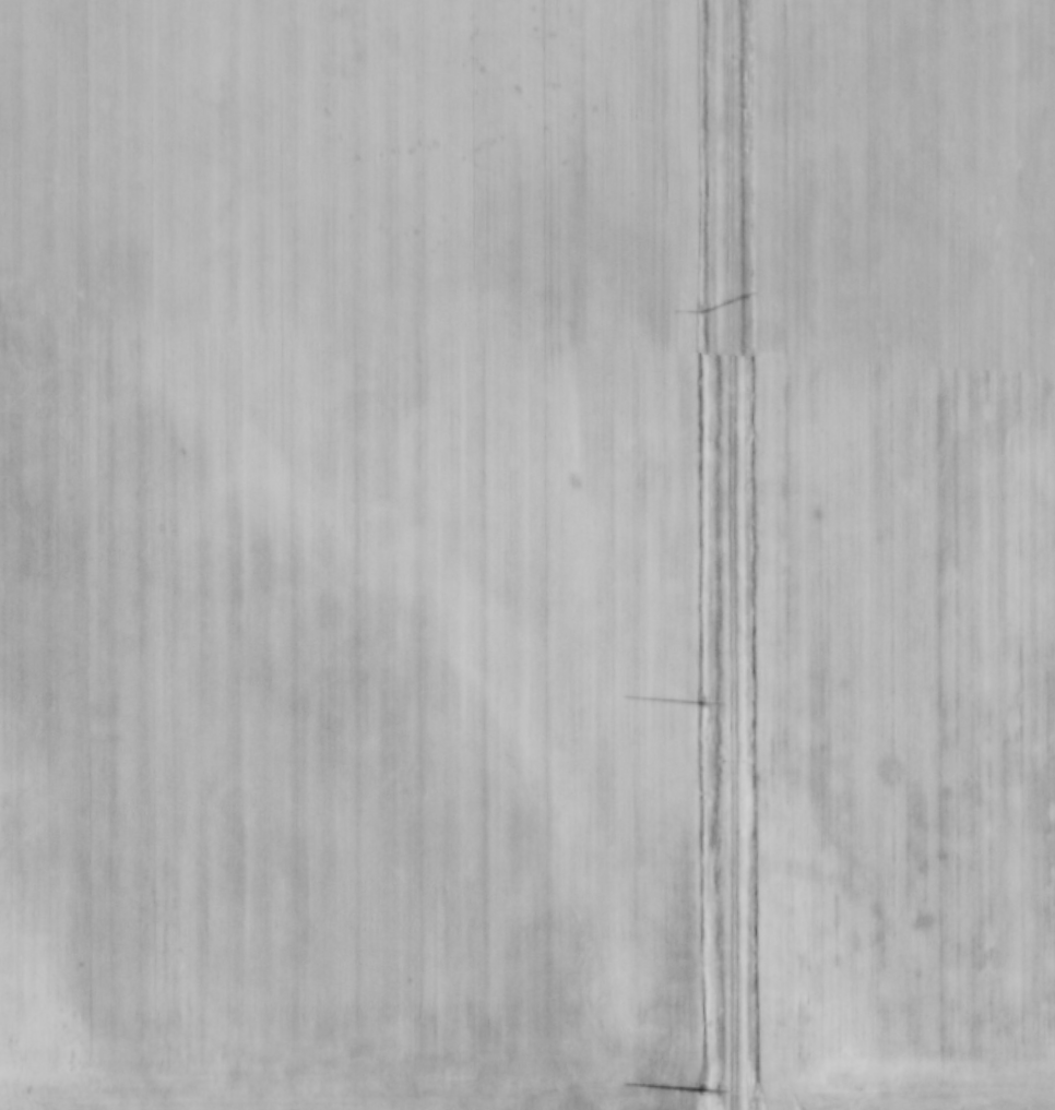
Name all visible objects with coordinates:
road: (739, 554)

